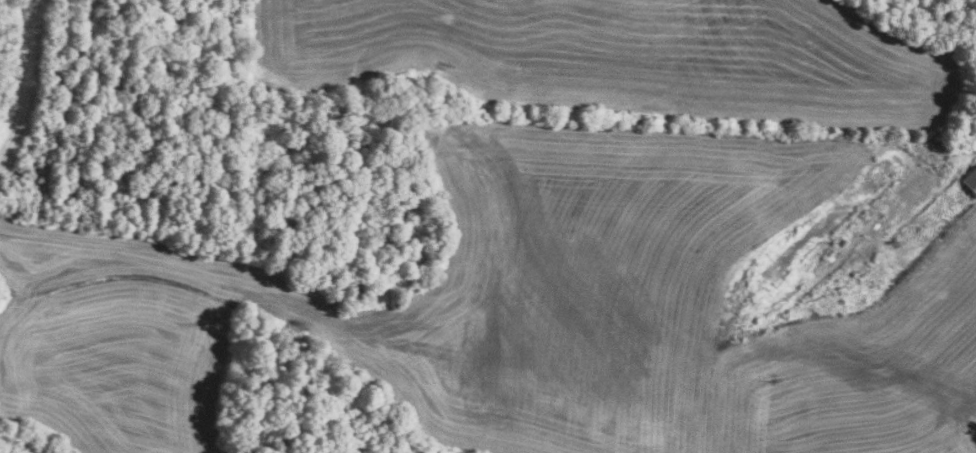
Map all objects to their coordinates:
crop: (628, 57)
building: (971, 180)
road: (710, 360)

